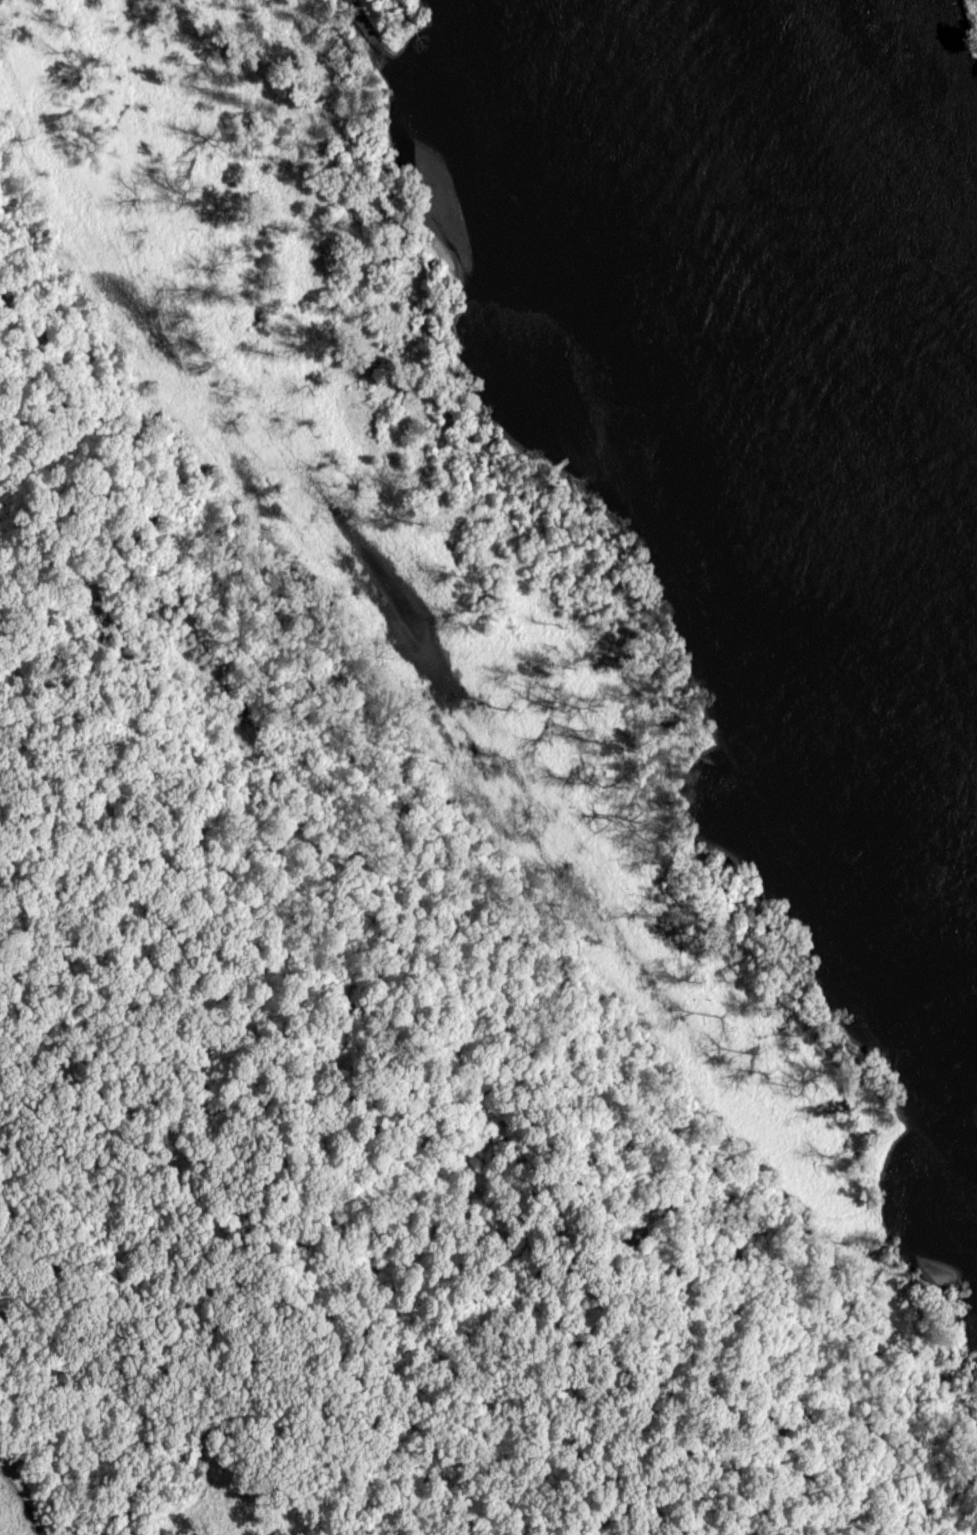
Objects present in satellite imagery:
river: (852, 330)

